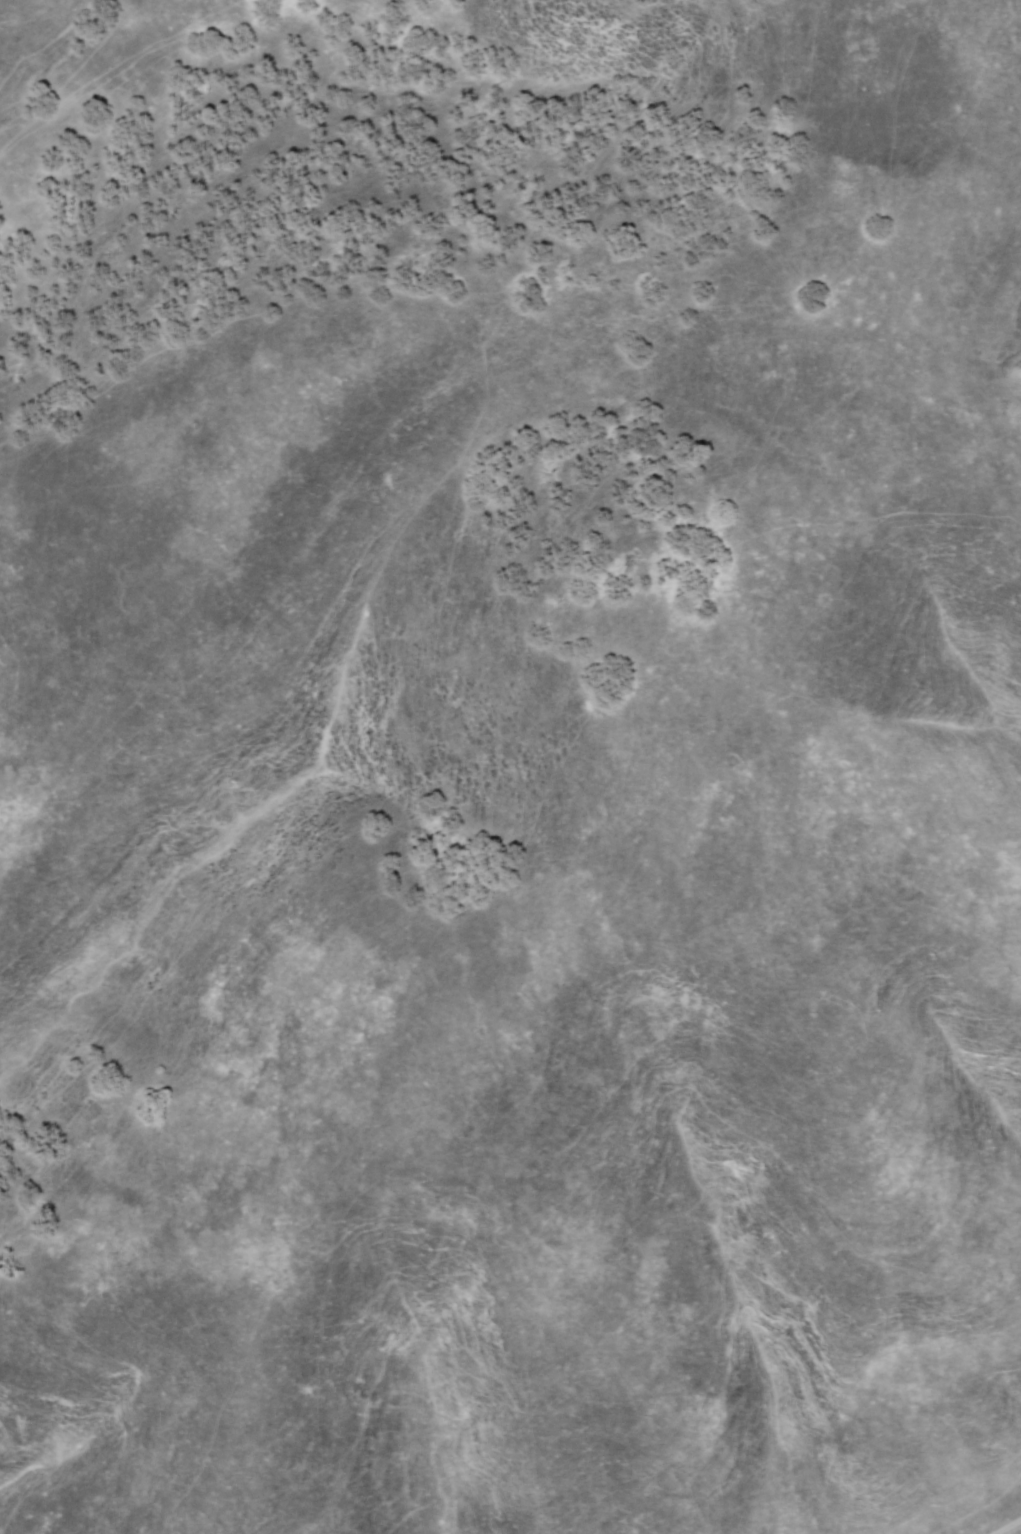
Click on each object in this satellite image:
road: (1006, 1527)

